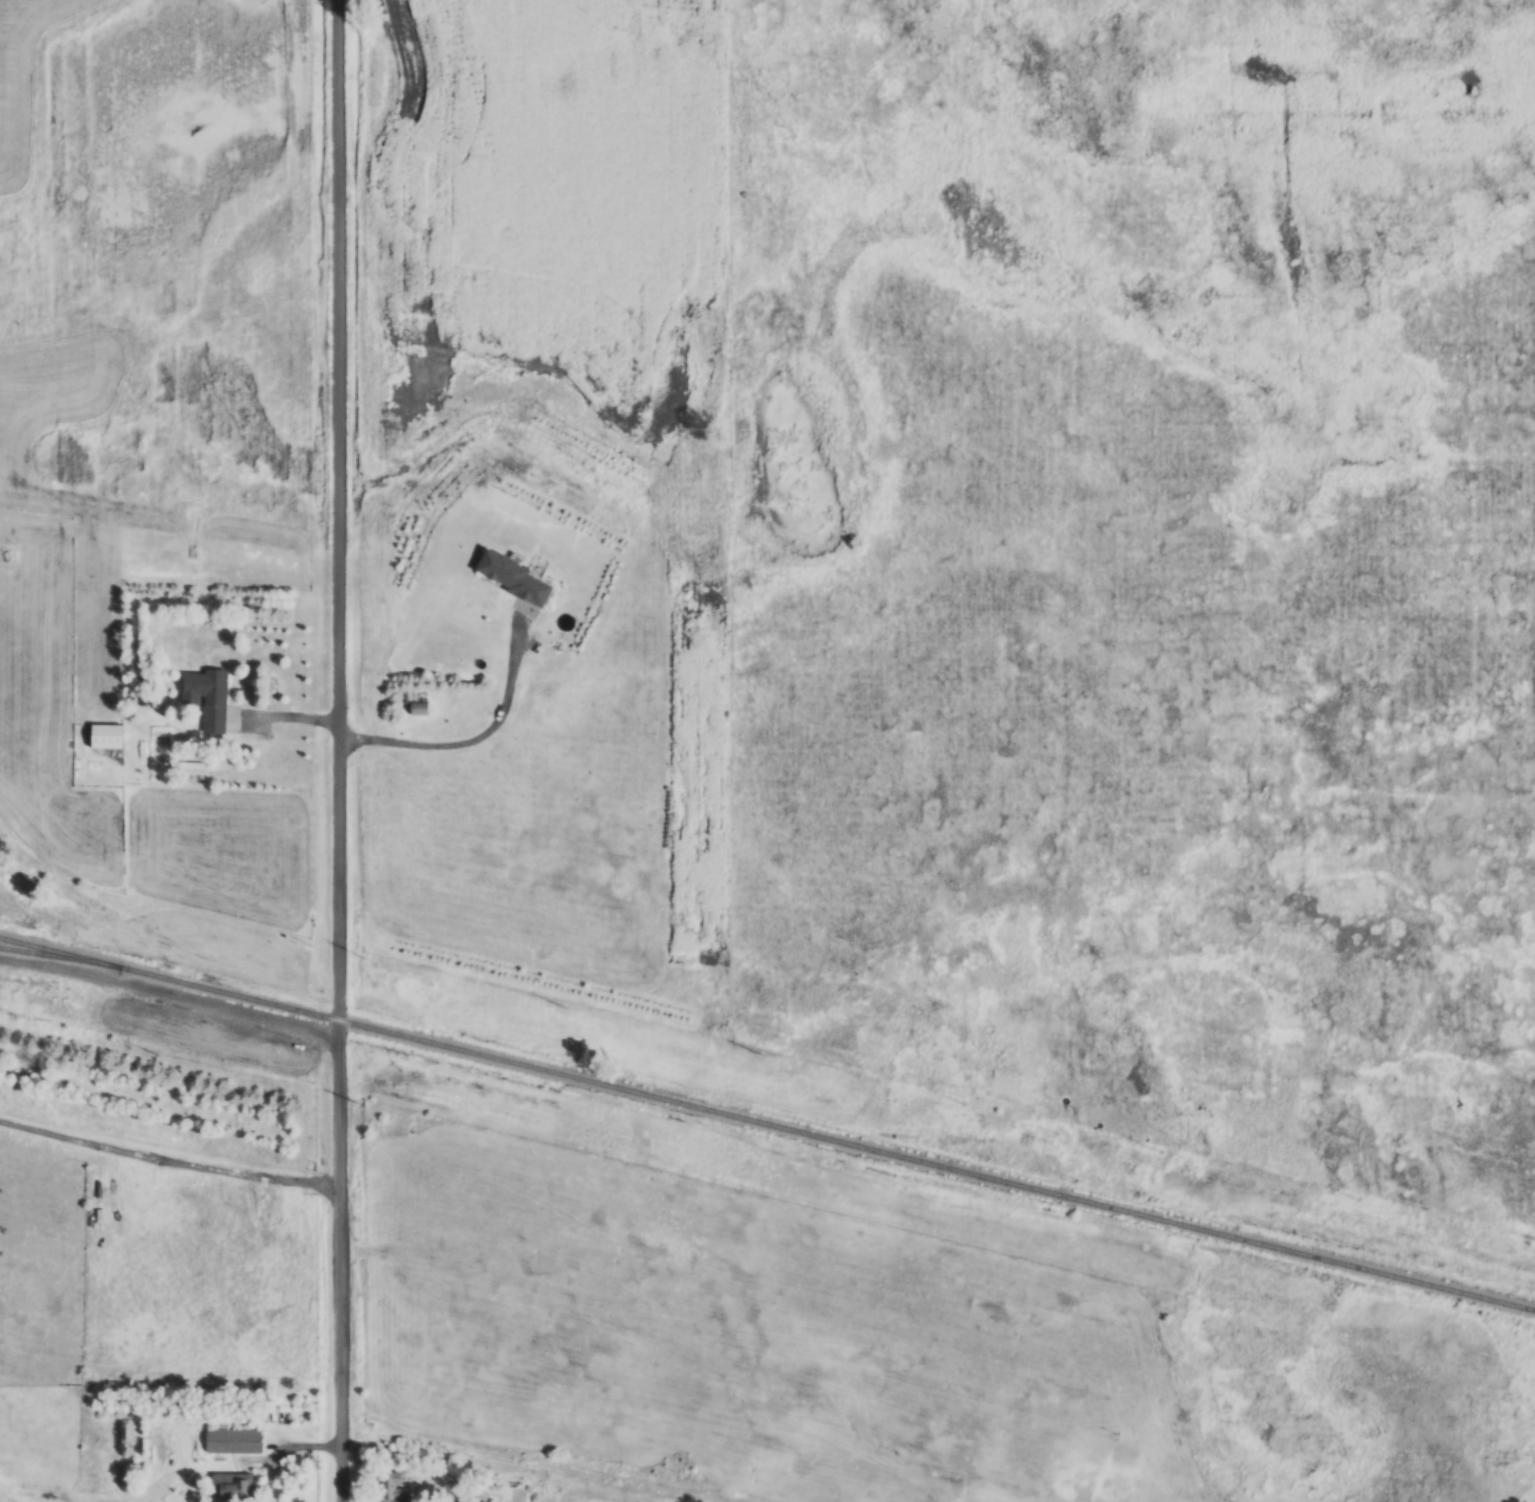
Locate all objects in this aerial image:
building: (207, 696)
building: (418, 707)
road: (282, 713)
building: (108, 735)
road: (470, 737)
road: (336, 751)
railway: (767, 1124)
building: (233, 1440)
road: (522, 1463)
road: (1093, 1479)
building: (235, 1486)
building: (394, 1487)

